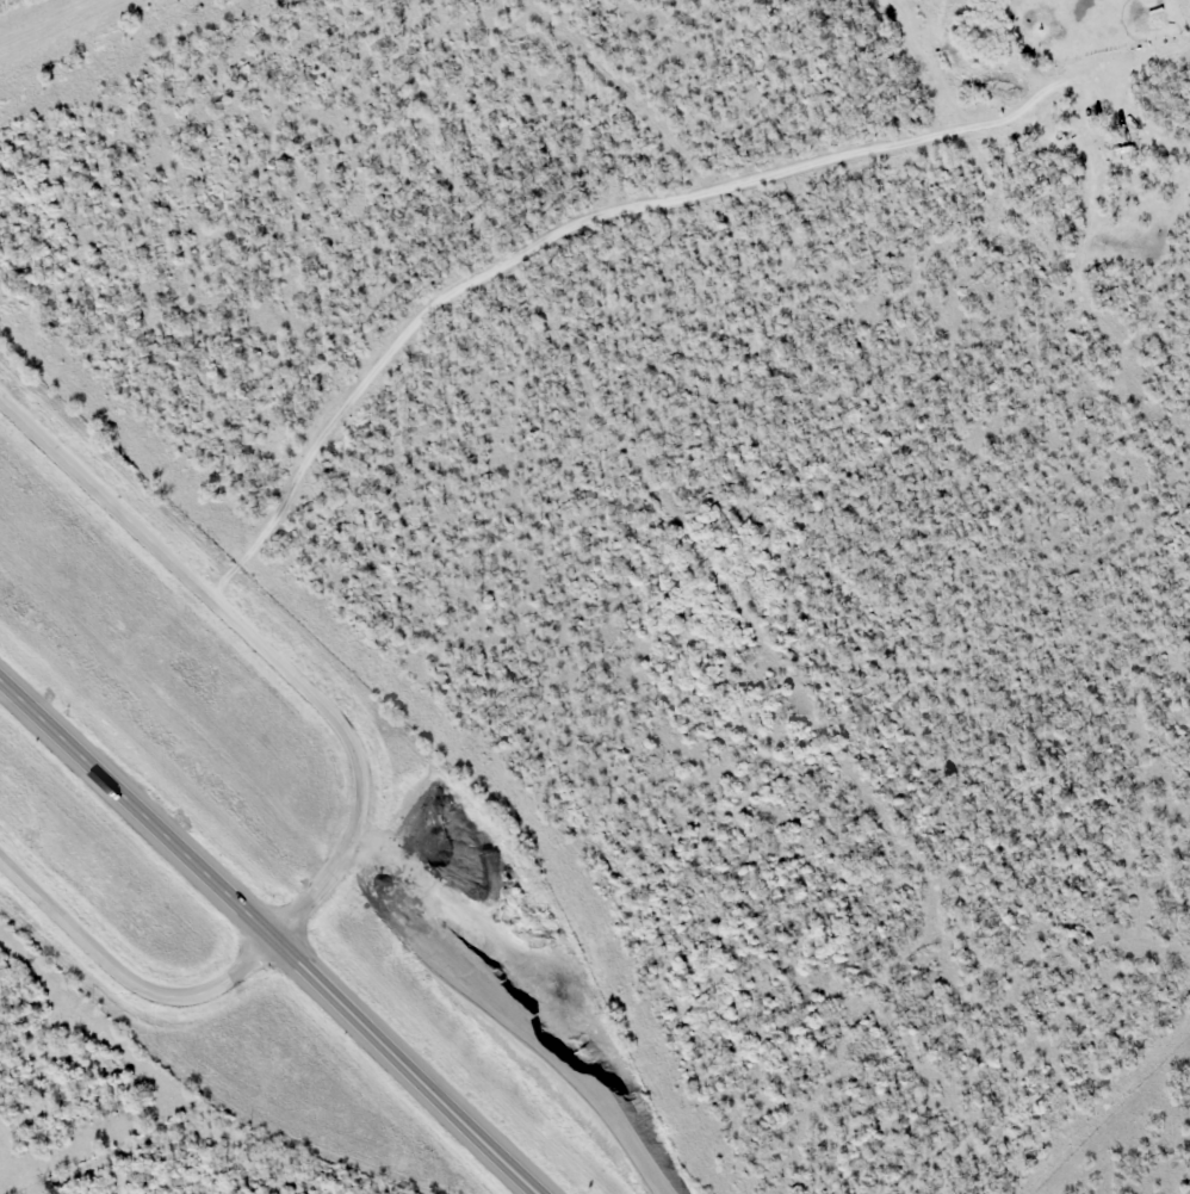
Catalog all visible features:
road: (543, 237)
road: (364, 778)
road: (268, 938)

